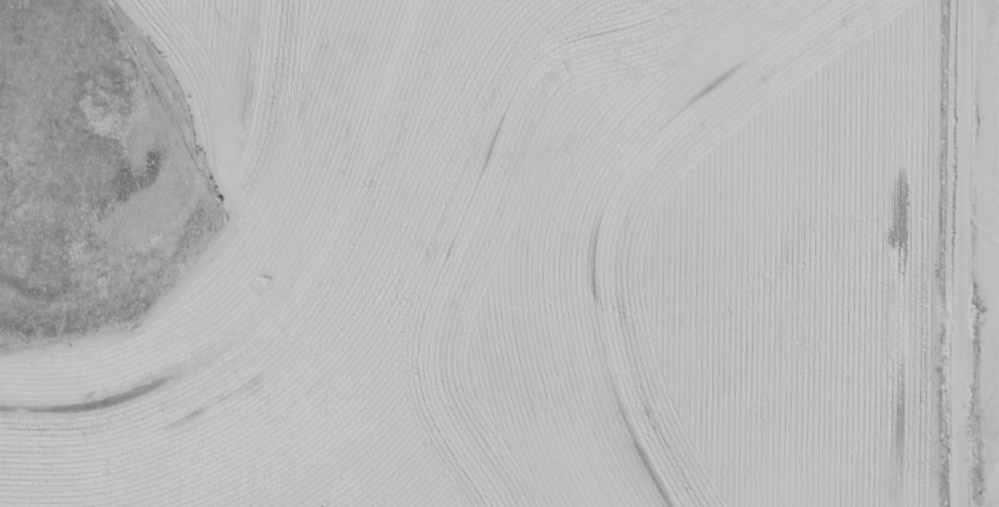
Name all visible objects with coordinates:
road: (961, 253)

